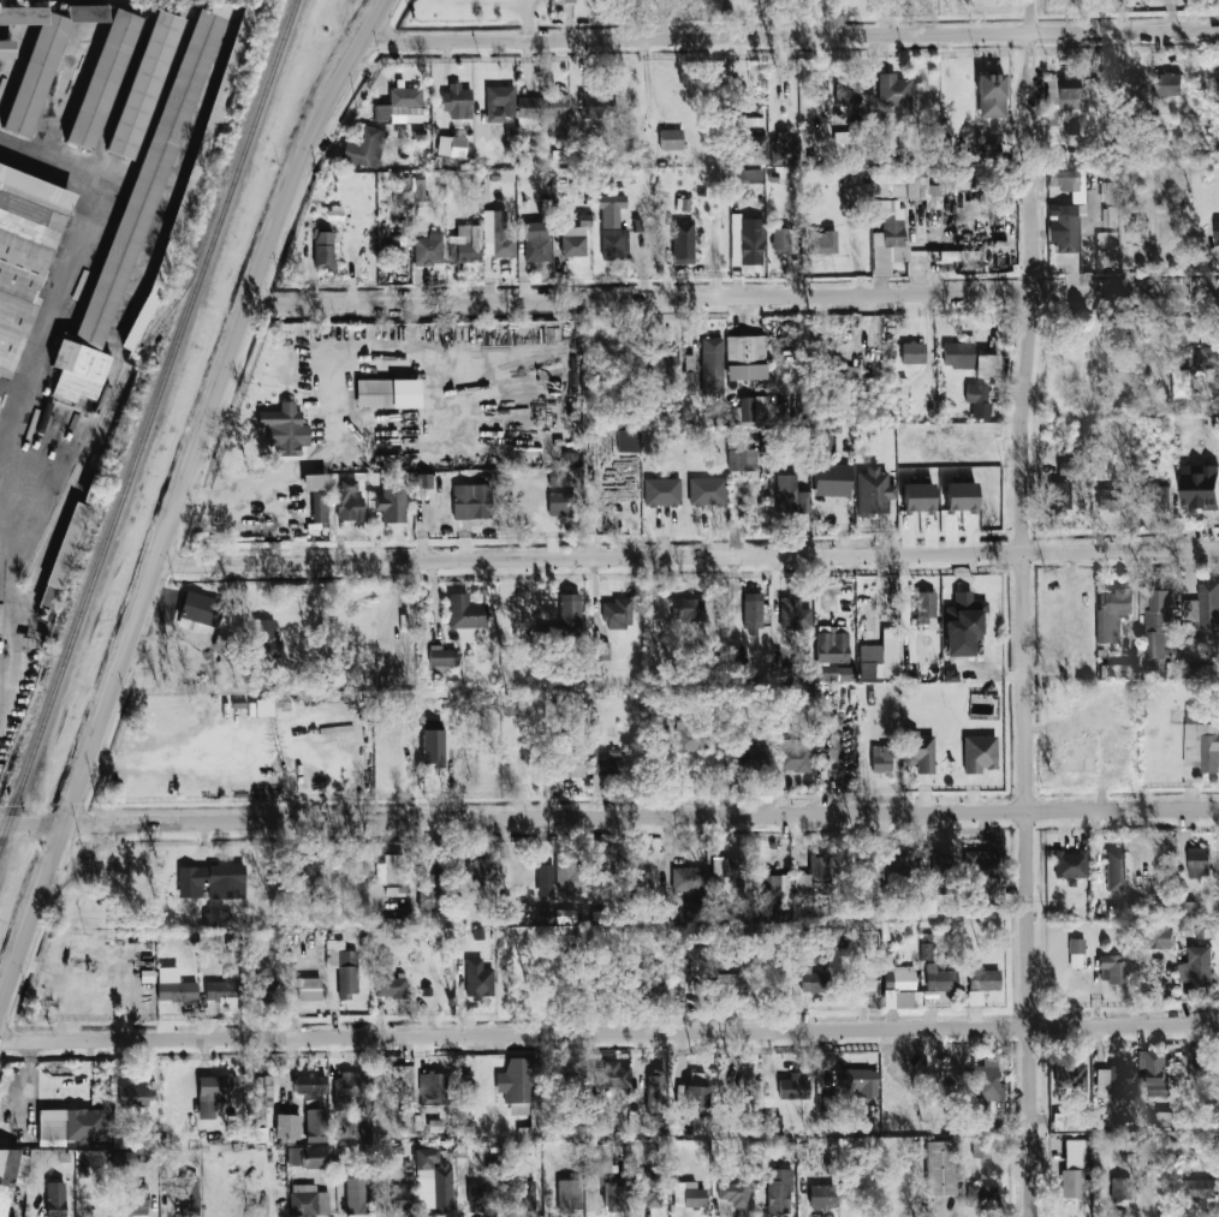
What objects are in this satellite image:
building: (1196, 1)
road: (529, 20)
road: (790, 35)
building: (6, 48)
building: (38, 62)
building: (102, 79)
building: (1217, 82)
building: (143, 84)
building: (1169, 84)
building: (894, 93)
building: (991, 95)
building: (1060, 96)
building: (457, 102)
building: (500, 102)
building: (595, 106)
building: (540, 112)
building: (671, 139)
building: (363, 147)
building: (451, 147)
building: (784, 149)
building: (751, 150)
building: (988, 151)
building: (505, 175)
building: (750, 175)
building: (1068, 179)
building: (418, 189)
building: (1108, 192)
building: (335, 213)
building: (135, 216)
building: (1111, 216)
building: (1063, 227)
building: (612, 228)
building: (1137, 231)
building: (1217, 232)
building: (496, 234)
building: (888, 235)
building: (575, 238)
building: (784, 239)
building: (751, 241)
building: (825, 241)
building: (536, 243)
building: (683, 243)
building: (465, 245)
building: (403, 249)
building: (429, 249)
building: (322, 251)
building: (957, 255)
building: (24, 256)
road: (732, 296)
building: (745, 348)
building: (912, 352)
building: (958, 354)
building: (661, 362)
building: (712, 365)
building: (987, 365)
building: (1194, 371)
building: (747, 372)
building: (846, 376)
road: (30, 378)
railway: (123, 384)
building: (387, 393)
building: (977, 400)
building: (753, 408)
railway: (149, 426)
building: (285, 429)
road: (418, 429)
building: (629, 440)
building: (822, 446)
building: (743, 459)
building: (1065, 470)
building: (424, 481)
building: (558, 481)
building: (833, 481)
building: (1200, 487)
building: (661, 491)
building: (707, 491)
building: (874, 491)
building: (317, 495)
building: (791, 495)
building: (1059, 495)
building: (961, 496)
building: (1110, 496)
road: (176, 497)
building: (918, 497)
building: (1156, 497)
building: (349, 501)
building: (471, 501)
building: (391, 502)
building: (560, 505)
building: (63, 555)
road: (684, 557)
building: (1208, 607)
building: (924, 608)
building: (201, 609)
building: (686, 609)
building: (465, 612)
building: (753, 612)
building: (617, 613)
building: (570, 614)
building: (1112, 614)
building: (793, 616)
building: (1158, 622)
building: (963, 624)
building: (264, 639)
building: (832, 646)
building: (599, 650)
building: (441, 656)
building: (881, 656)
building: (738, 666)
building: (1190, 669)
building: (1118, 670)
building: (836, 673)
building: (911, 675)
road: (1024, 696)
building: (594, 698)
building: (1193, 716)
building: (690, 738)
building: (433, 747)
building: (1209, 748)
building: (918, 751)
building: (980, 753)
building: (793, 754)
building: (881, 758)
building: (565, 759)
building: (747, 760)
road: (608, 817)
building: (1197, 861)
building: (1070, 864)
building: (897, 866)
building: (725, 867)
building: (477, 870)
building: (1116, 871)
building: (387, 873)
building: (943, 873)
building: (982, 873)
building: (688, 878)
building: (813, 878)
building: (305, 879)
building: (545, 879)
building: (213, 881)
building: (429, 889)
building: (773, 891)
building: (216, 918)
building: (1155, 936)
building: (927, 947)
building: (1076, 953)
building: (1196, 967)
building: (1112, 968)
building: (347, 974)
building: (899, 978)
building: (983, 978)
building: (478, 979)
building: (811, 980)
building: (944, 980)
building: (727, 984)
building: (174, 986)
building: (261, 988)
building: (309, 989)
building: (222, 990)
building: (908, 1000)
road: (608, 1034)
building: (739, 1069)
building: (1153, 1072)
building: (609, 1075)
building: (1070, 1075)
building: (860, 1080)
building: (987, 1081)
building: (1112, 1082)
building: (310, 1084)
building: (518, 1084)
building: (434, 1087)
building: (793, 1087)
building: (347, 1088)
building: (655, 1090)
building: (696, 1090)
building: (215, 1093)
building: (260, 1094)
building: (133, 1097)
building: (1162, 1118)
building: (772, 1123)
building: (315, 1124)
building: (71, 1126)
building: (287, 1126)
building: (435, 1126)
building: (256, 1131)
building: (367, 1132)
building: (981, 1147)
building: (310, 1157)
building: (123, 1158)
building: (940, 1168)
building: (1072, 1169)
building: (11, 1174)
building: (433, 1180)
building: (1120, 1187)
building: (652, 1188)
building: (1199, 1188)
building: (779, 1191)
building: (735, 1192)
building: (402, 1194)
building: (569, 1194)
building: (981, 1194)
building: (189, 1195)
building: (355, 1195)
building: (522, 1195)
building: (613, 1195)
building: (691, 1195)
building: (822, 1197)
building: (481, 1198)
building: (55, 1199)
building: (308, 1201)
building: (137, 1204)

